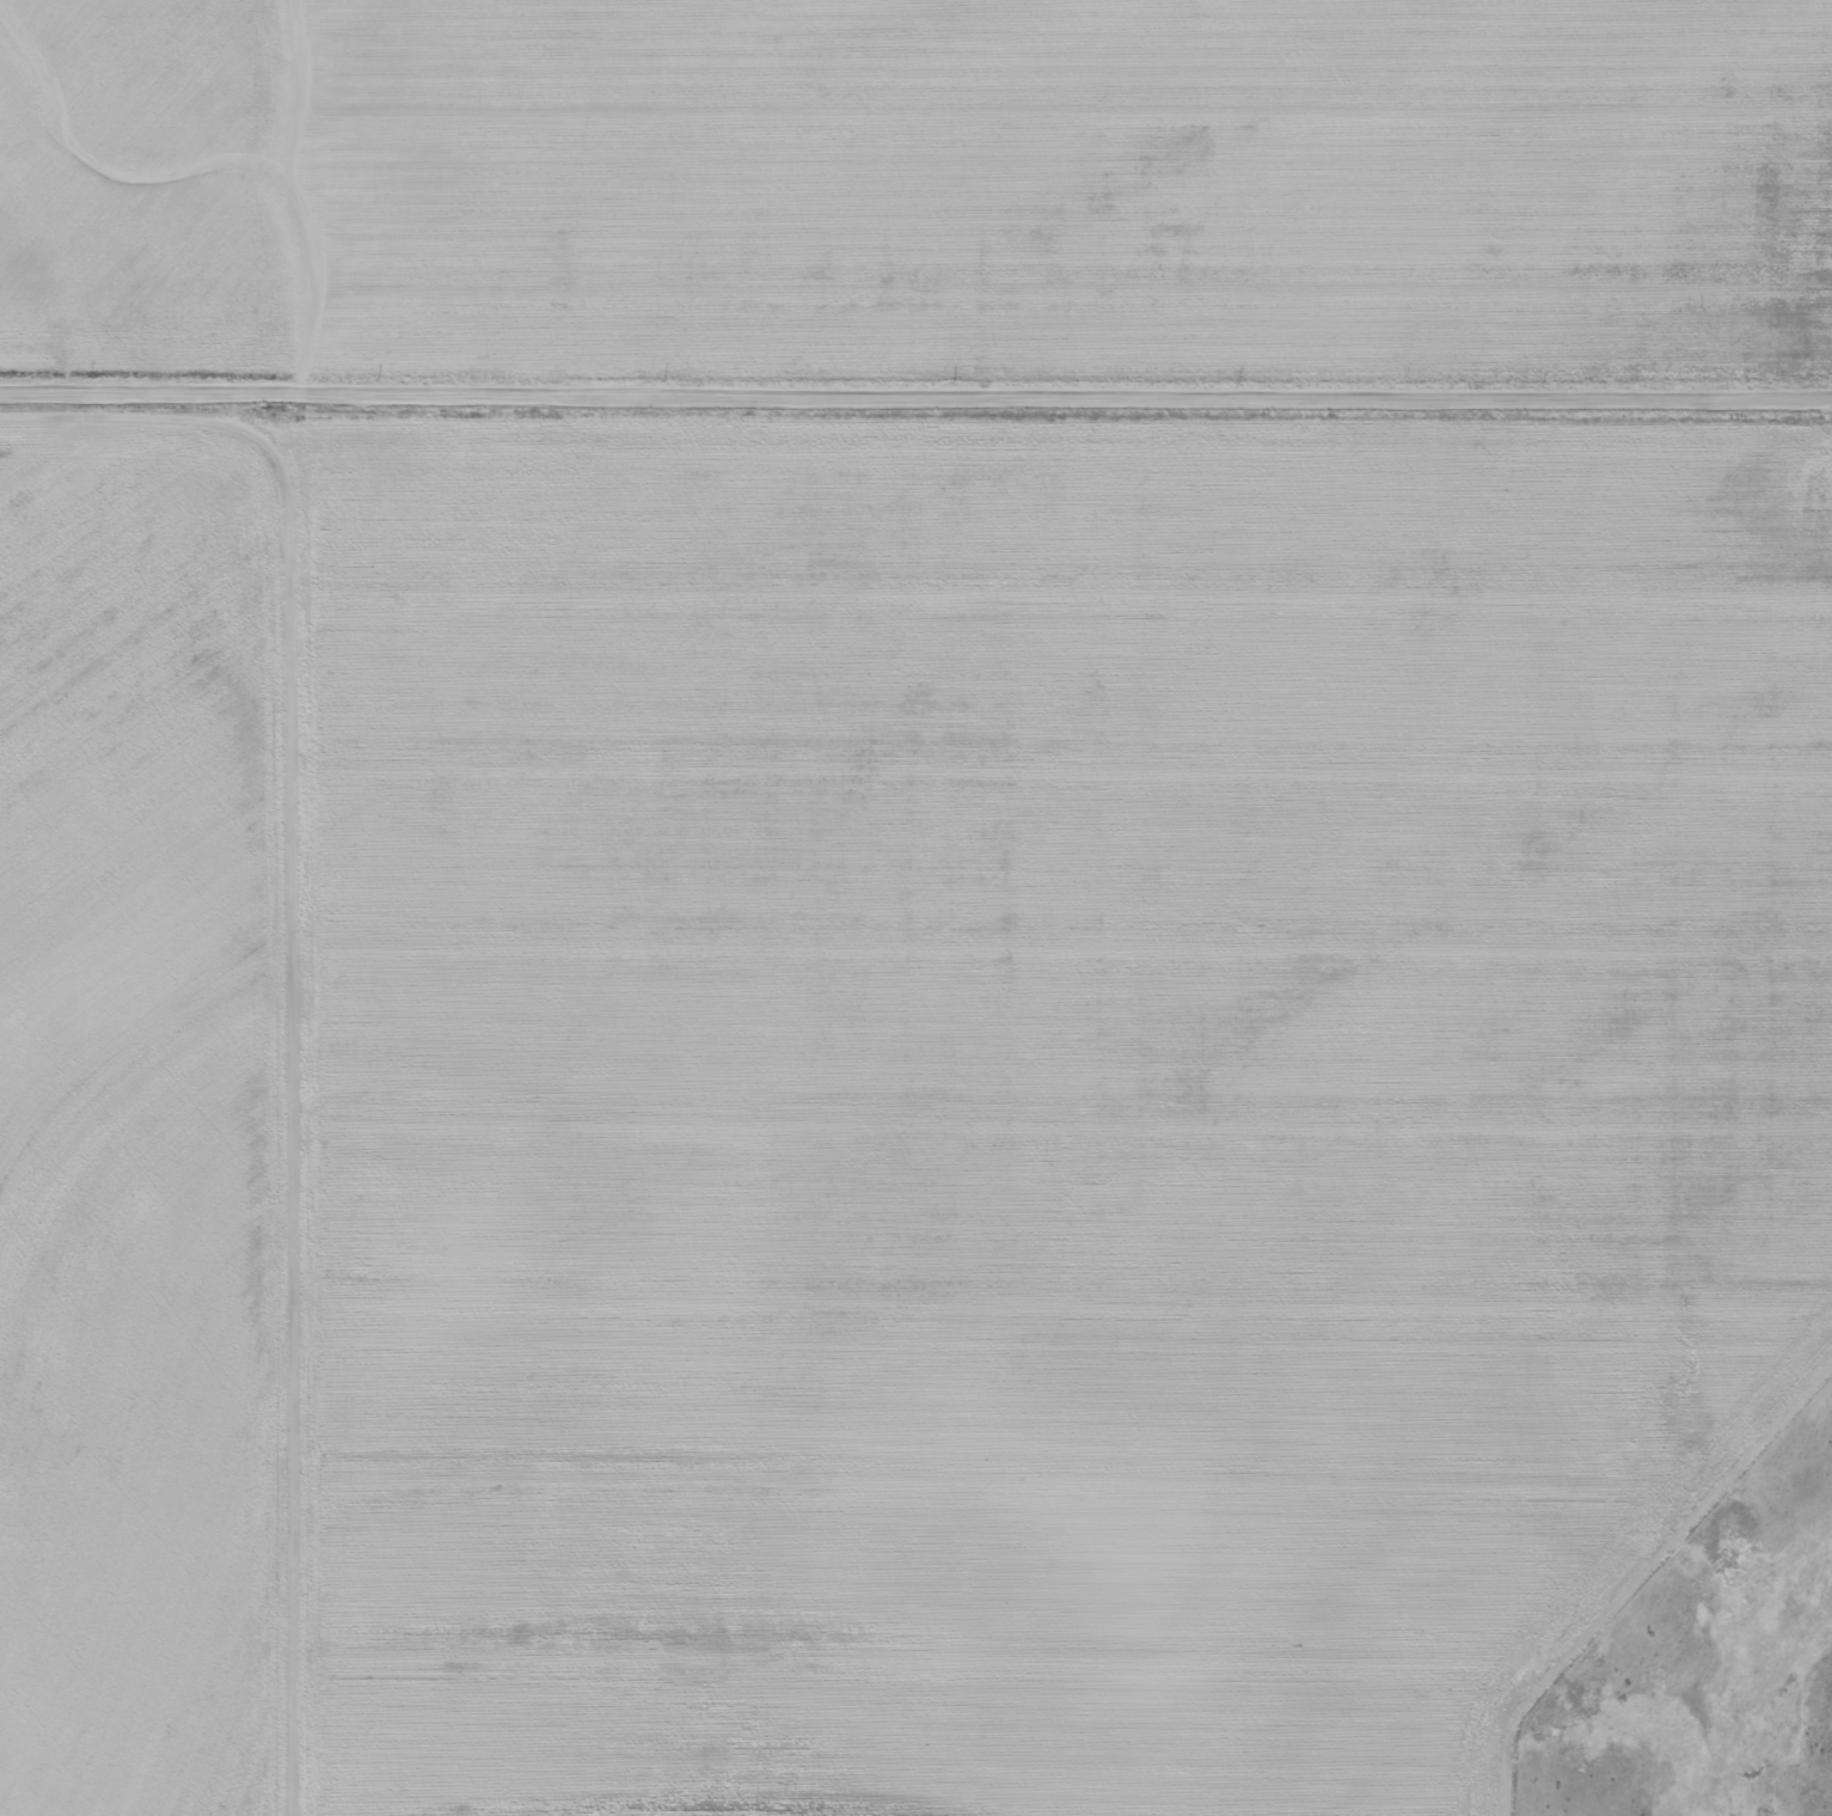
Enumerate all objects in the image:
road: (915, 391)

